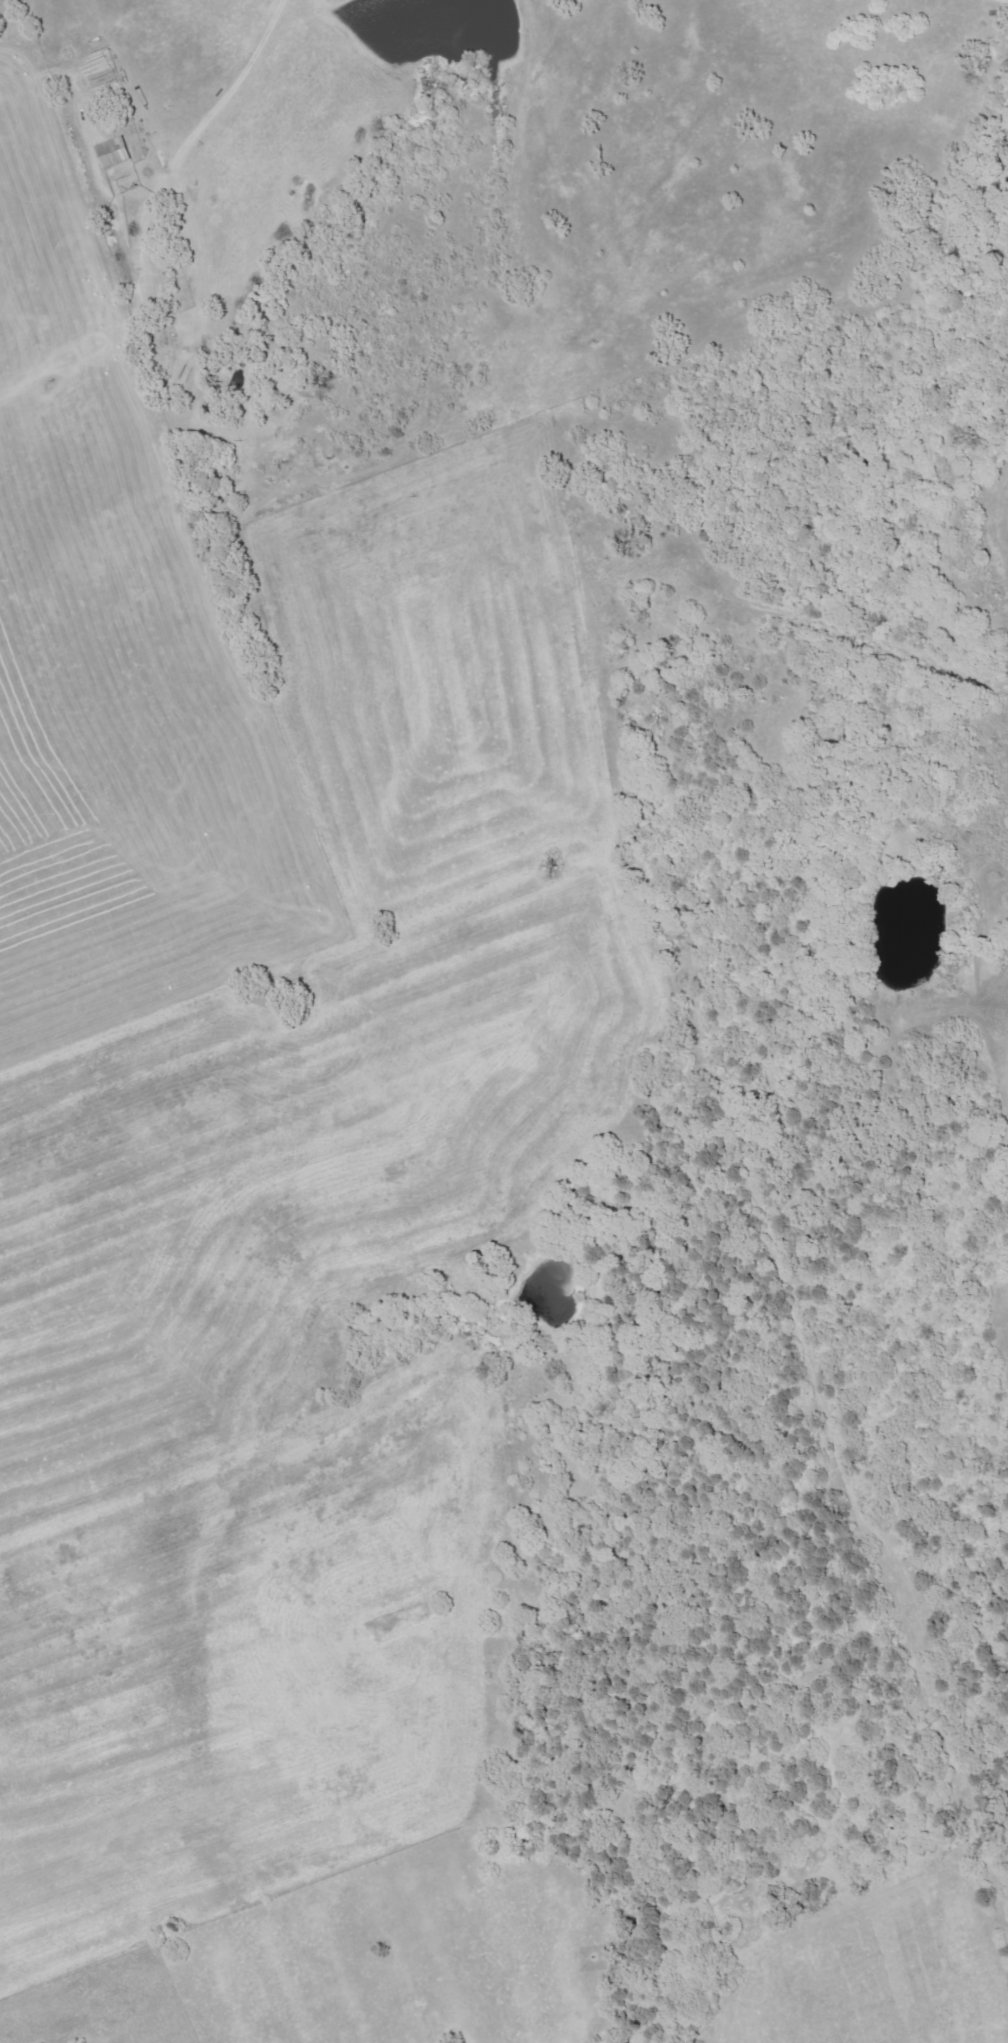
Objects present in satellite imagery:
building: (114, 151)

